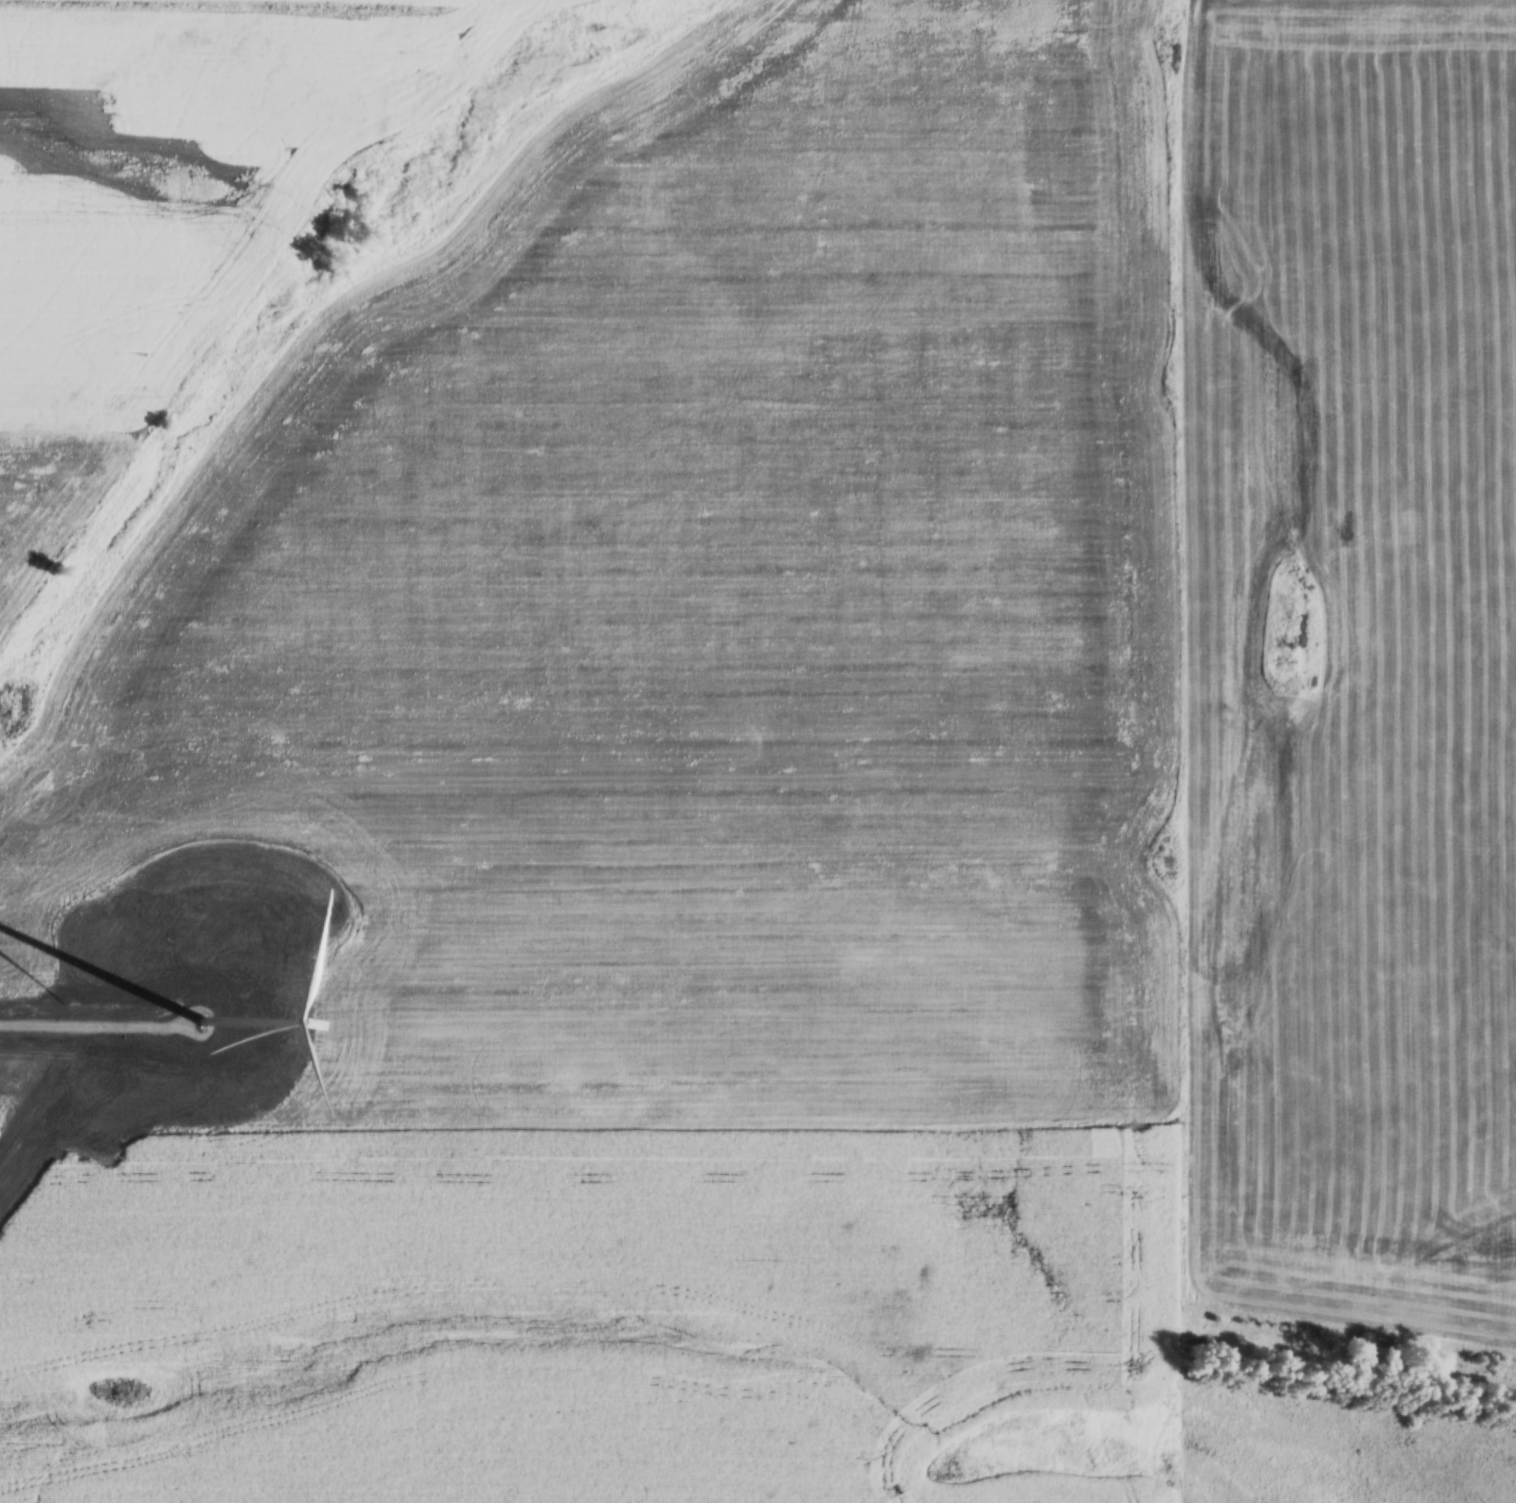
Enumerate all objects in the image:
wind turbine: (202, 1020)

